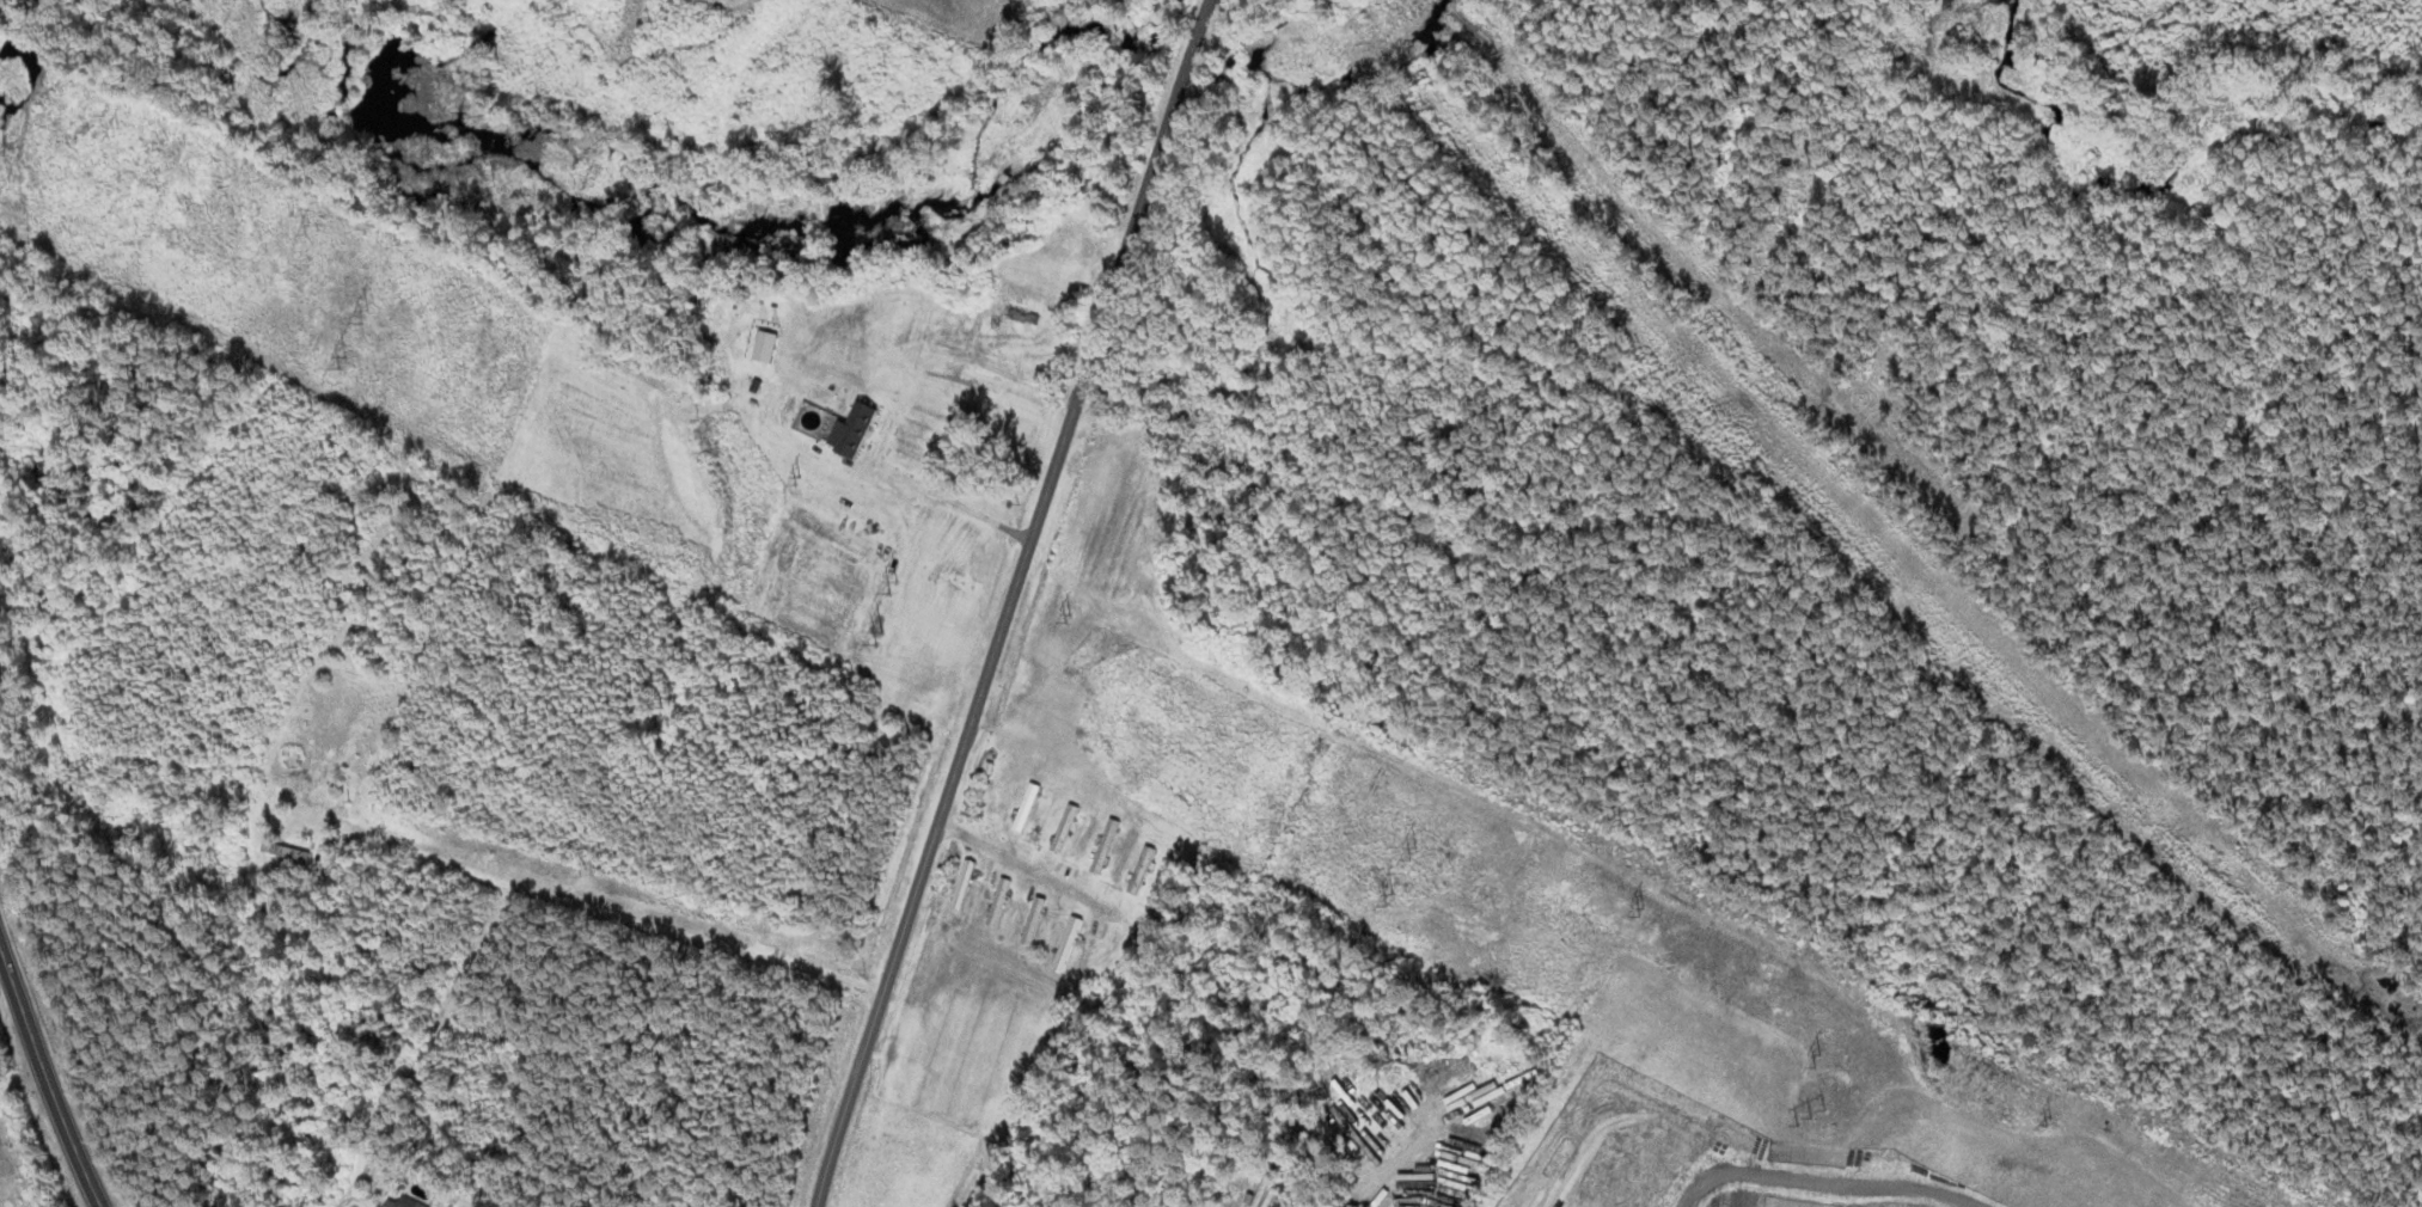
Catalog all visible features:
power tower: (123, 130)
power tower: (308, 223)
power tower: (362, 311)
building: (1022, 314)
power tower: (347, 363)
building: (966, 424)
building: (849, 430)
power tower: (806, 483)
power tower: (892, 583)
road: (1010, 602)
power tower: (1071, 614)
power tower: (880, 635)
building: (344, 766)
building: (1025, 804)
building: (1063, 825)
building: (1102, 843)
power tower: (1415, 851)
building: (1139, 866)
road: (1025, 868)
building: (961, 881)
power tower: (1389, 892)
building: (996, 899)
power tower: (1644, 907)
building: (1030, 918)
building: (1064, 941)
power tower: (1816, 1059)
road: (47, 1072)
power tower: (1811, 1113)
power tower: (2049, 1117)
building: (411, 1203)

